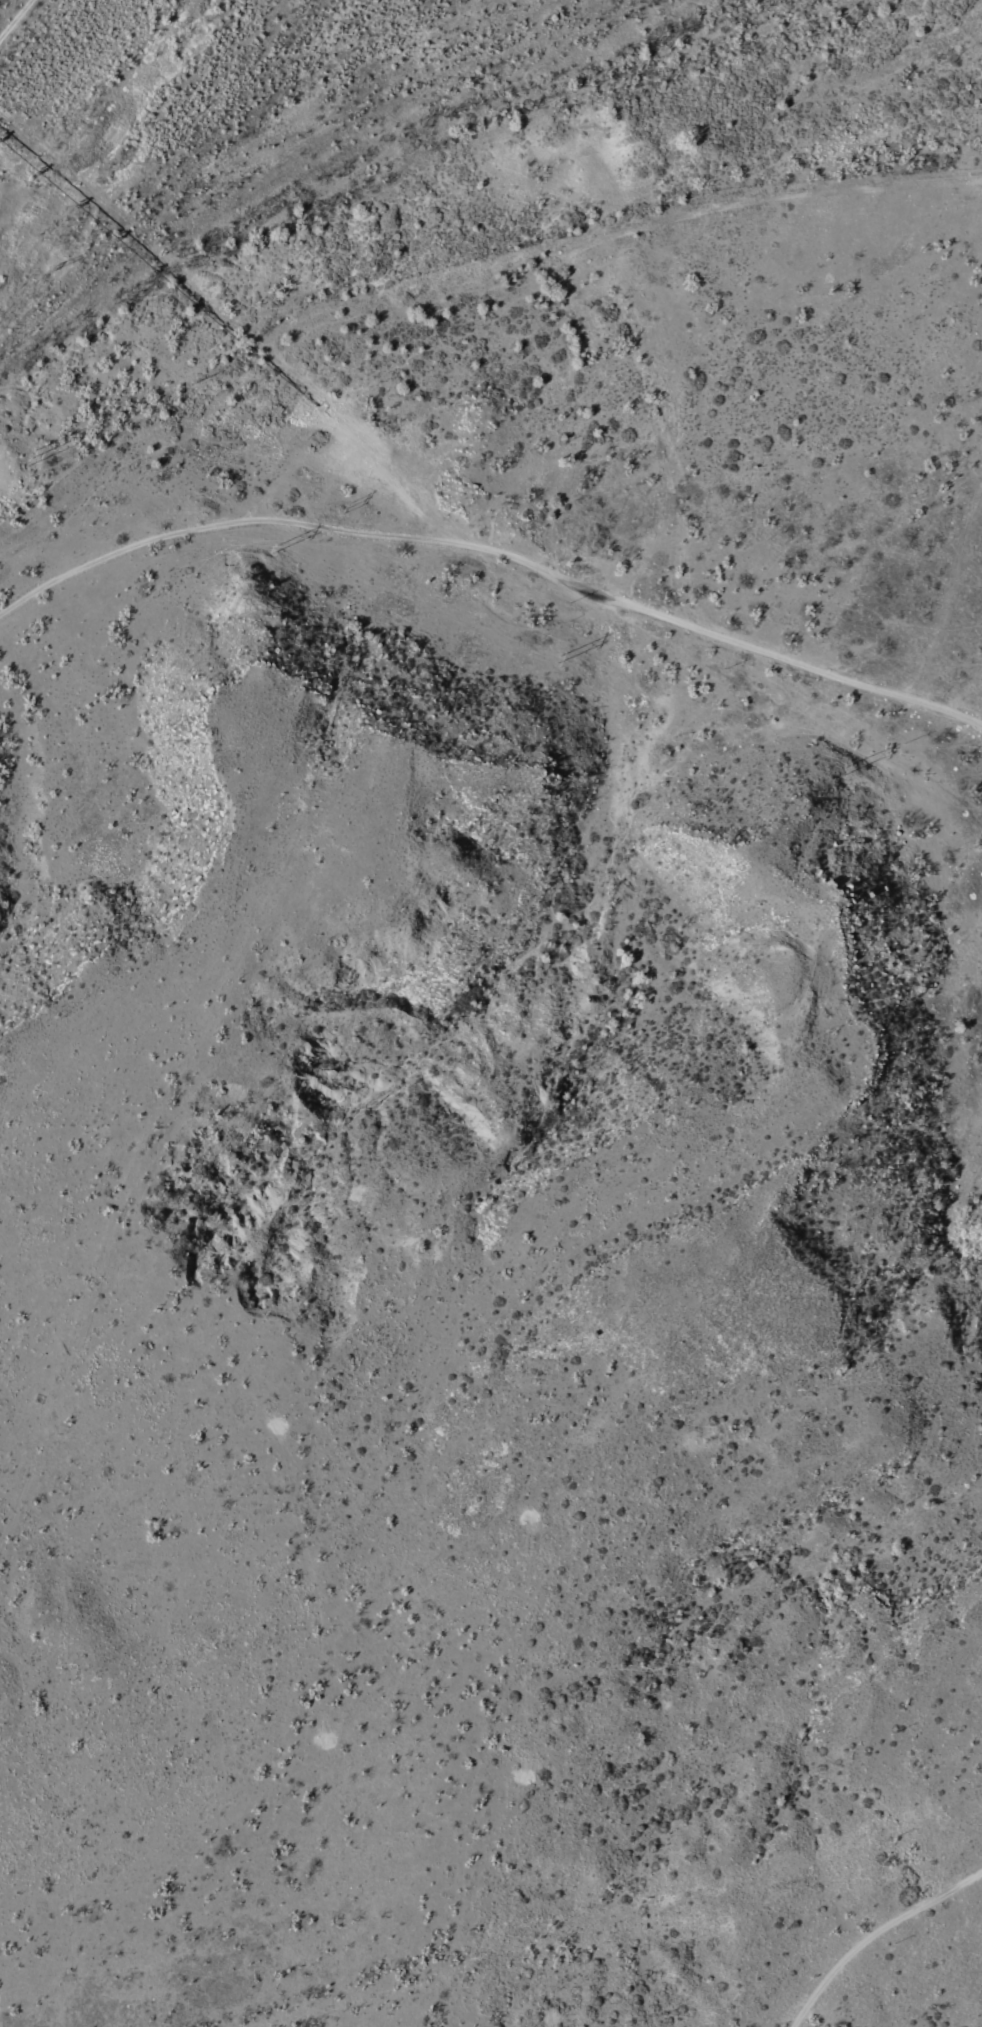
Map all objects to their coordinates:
river: (93, 144)
power tower: (31, 458)
power tower: (273, 548)
power tower: (557, 658)
power tower: (842, 772)

